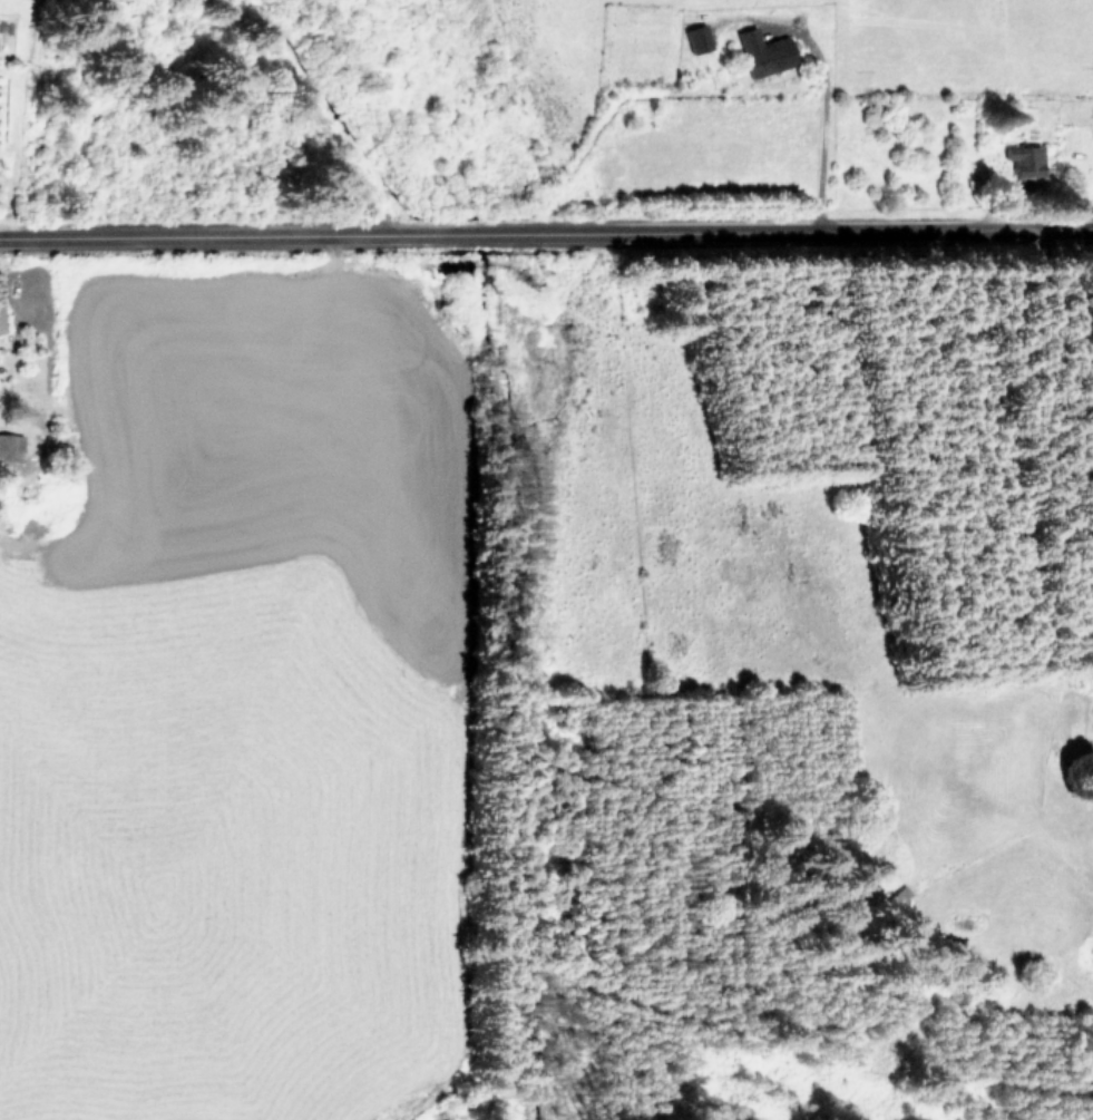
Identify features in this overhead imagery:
building: (695, 38)
building: (761, 52)
road: (819, 89)
building: (1022, 159)
road: (546, 228)
building: (10, 447)
crop: (211, 658)

